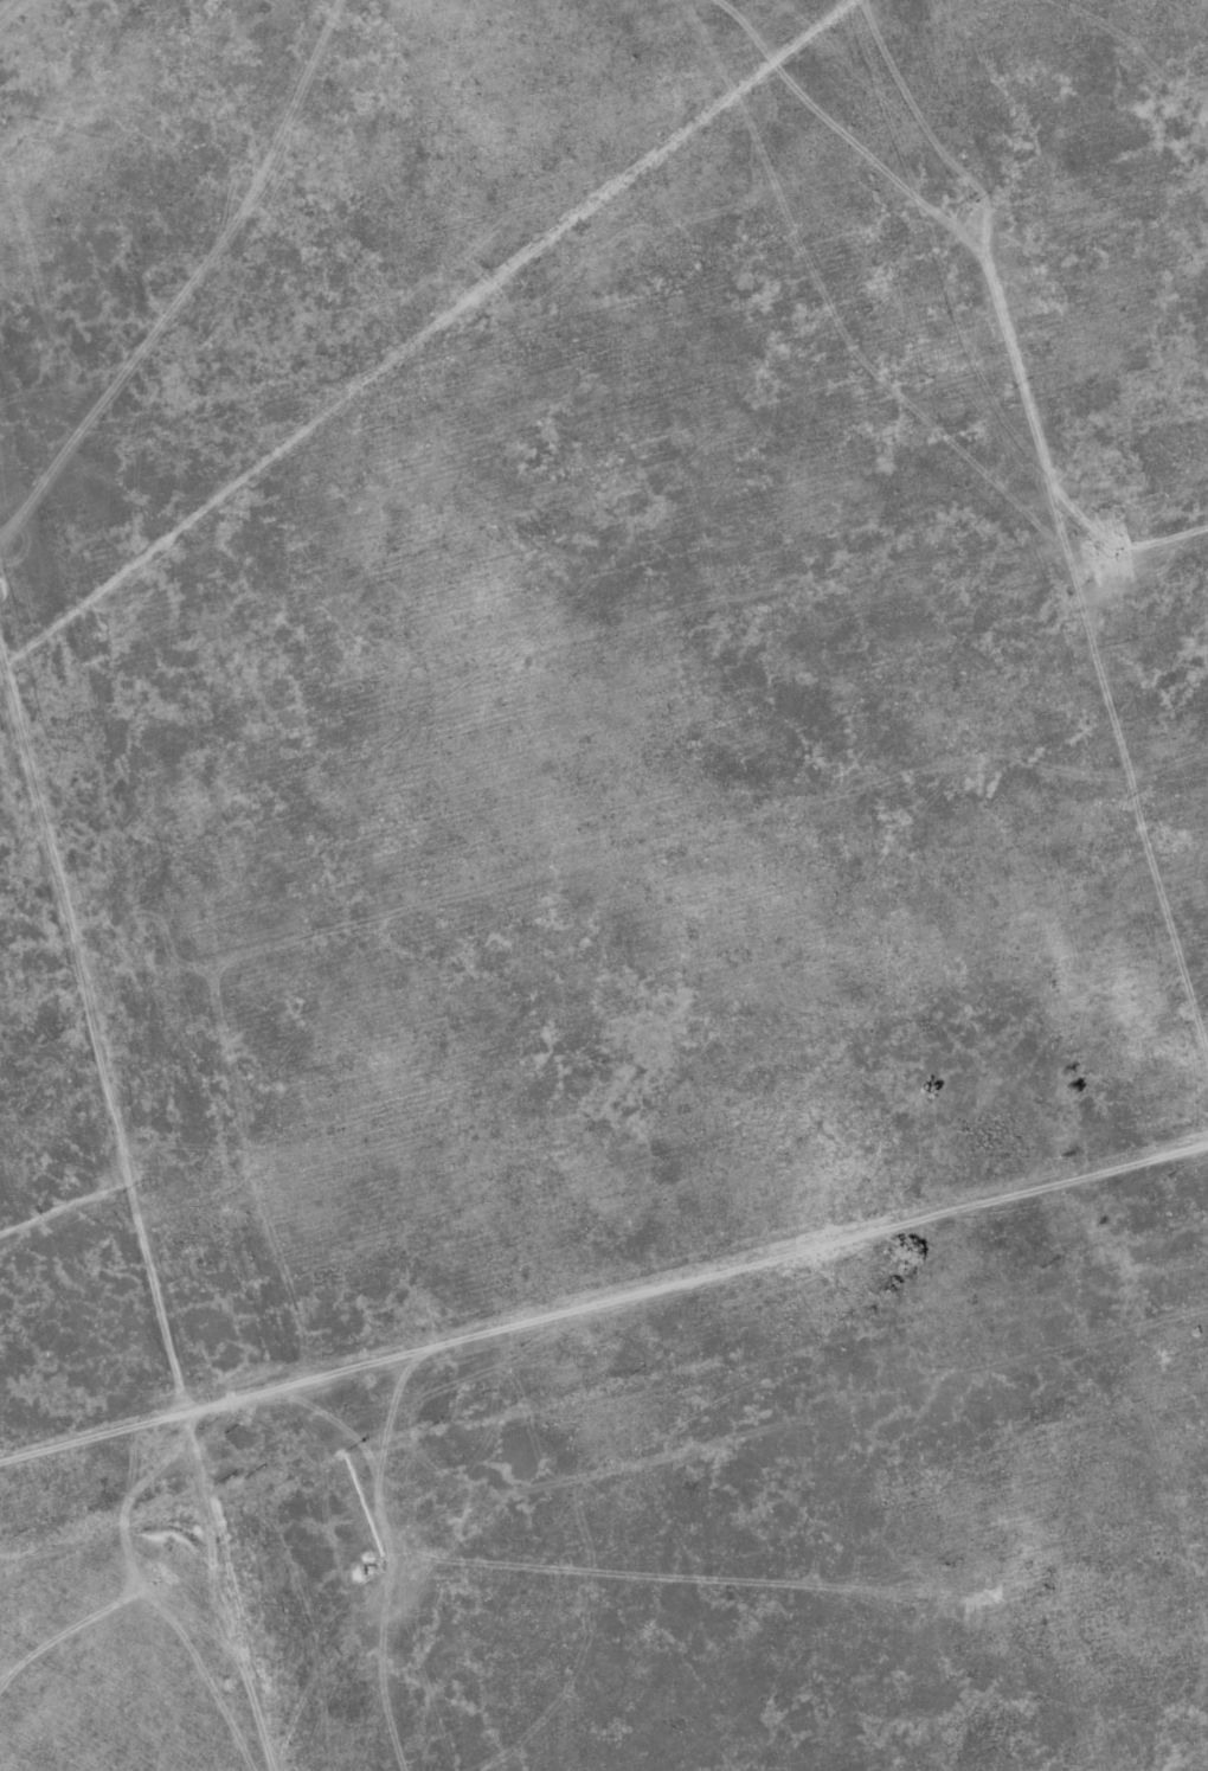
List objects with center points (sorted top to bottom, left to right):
river: (1199, 20)

